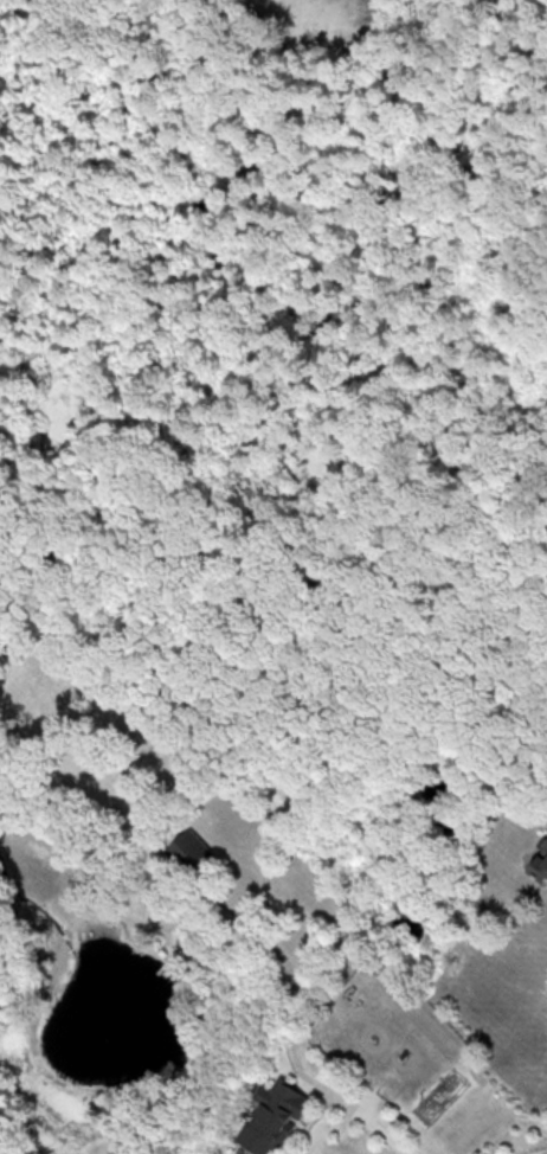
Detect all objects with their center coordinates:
building: (194, 852)
building: (540, 867)
building: (275, 1116)
road: (355, 1117)

